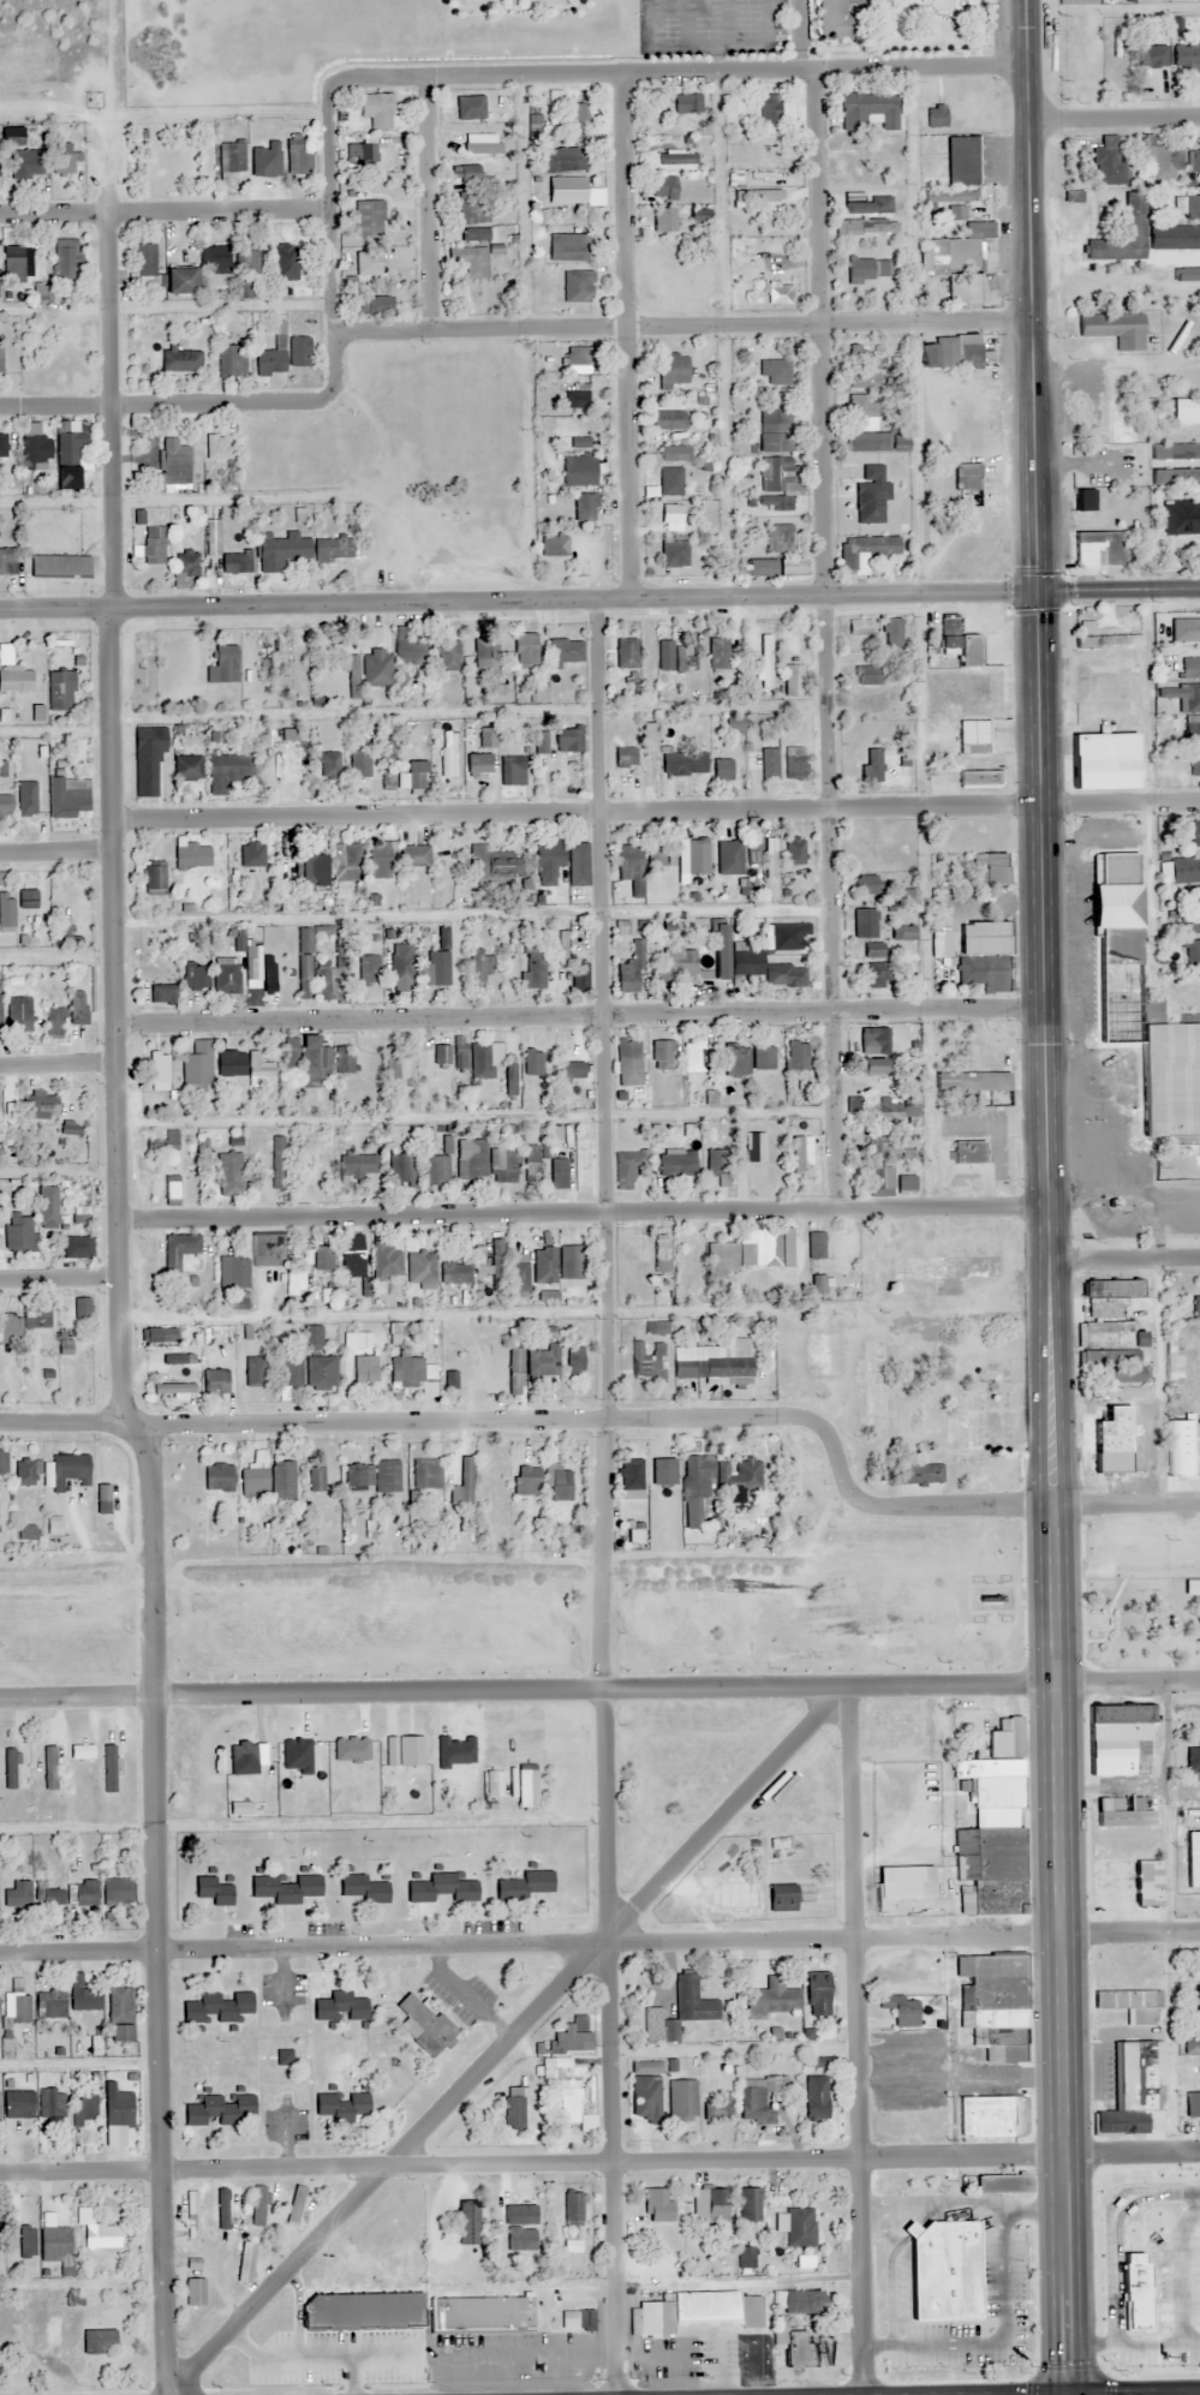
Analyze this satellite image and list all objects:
building: (1076, 2)
building: (841, 20)
building: (1151, 55)
building: (1186, 56)
road: (925, 74)
road: (452, 79)
building: (686, 103)
building: (468, 107)
building: (769, 108)
building: (376, 109)
building: (547, 109)
building: (577, 112)
building: (868, 112)
road: (1115, 121)
building: (13, 136)
building: (298, 155)
building: (231, 157)
building: (676, 159)
building: (1194, 159)
building: (562, 160)
building: (962, 160)
building: (1168, 161)
building: (26, 162)
building: (68, 162)
building: (166, 162)
building: (1108, 163)
building: (466, 174)
building: (662, 187)
building: (566, 190)
road: (108, 198)
building: (947, 199)
road: (628, 204)
building: (1187, 207)
road: (431, 208)
building: (472, 209)
building: (1134, 215)
road: (221, 216)
road: (54, 219)
building: (369, 219)
building: (664, 220)
building: (968, 223)
building: (862, 227)
building: (473, 234)
building: (567, 247)
building: (66, 258)
building: (217, 258)
building: (144, 261)
building: (472, 261)
building: (282, 262)
building: (17, 264)
building: (954, 268)
building: (251, 269)
building: (868, 269)
building: (179, 279)
building: (577, 286)
building: (42, 292)
building: (777, 295)
building: (375, 305)
road: (112, 313)
building: (1112, 329)
road: (541, 332)
road: (826, 336)
building: (298, 351)
building: (950, 352)
building: (858, 356)
building: (1, 357)
building: (580, 357)
building: (179, 360)
building: (231, 360)
building: (671, 370)
building: (775, 371)
building: (862, 381)
building: (577, 396)
road: (58, 408)
building: (1187, 412)
building: (861, 414)
building: (668, 420)
building: (775, 431)
building: (71, 442)
building: (577, 443)
building: (876, 443)
building: (213, 444)
building: (2, 447)
building: (36, 448)
building: (674, 454)
building: (172, 462)
building: (1175, 465)
road: (632, 466)
building: (578, 471)
building: (776, 476)
building: (71, 477)
building: (966, 478)
building: (670, 482)
building: (871, 496)
building: (1085, 500)
building: (777, 504)
building: (585, 507)
road: (114, 510)
building: (670, 514)
building: (1182, 518)
building: (211, 537)
building: (778, 539)
building: (154, 545)
building: (554, 547)
building: (332, 549)
building: (1102, 549)
building: (280, 550)
building: (865, 550)
building: (673, 555)
building: (7, 561)
building: (186, 562)
building: (233, 563)
building: (61, 565)
building: (775, 568)
road: (1121, 592)
traffic signals: (1041, 596)
road: (578, 605)
road: (56, 613)
building: (859, 628)
building: (891, 632)
building: (959, 645)
building: (408, 647)
building: (526, 650)
building: (565, 651)
building: (485, 653)
building: (626, 653)
building: (720, 653)
building: (447, 656)
building: (664, 656)
building: (687, 657)
building: (264, 661)
building: (223, 664)
building: (376, 668)
building: (1190, 668)
building: (299, 670)
building: (865, 675)
building: (17, 679)
building: (788, 681)
building: (62, 691)
building: (1192, 698)
road: (830, 703)
building: (1192, 729)
building: (646, 733)
building: (973, 737)
building: (567, 739)
building: (147, 758)
building: (625, 758)
building: (1102, 761)
building: (795, 763)
building: (359, 764)
building: (477, 764)
building: (682, 764)
building: (769, 764)
building: (329, 765)
building: (871, 765)
building: (187, 768)
building: (291, 769)
building: (1194, 769)
building: (512, 770)
building: (649, 770)
building: (722, 770)
building: (226, 771)
building: (417, 776)
building: (979, 780)
building: (68, 800)
building: (6, 805)
road: (1122, 805)
road: (580, 817)
building: (1190, 832)
building: (864, 836)
road: (59, 852)
building: (794, 852)
building: (252, 854)
building: (765, 854)
building: (413, 855)
building: (192, 856)
building: (658, 858)
building: (693, 858)
building: (728, 858)
building: (377, 860)
building: (346, 862)
building: (562, 862)
building: (1184, 866)
building: (494, 867)
building: (629, 867)
building: (314, 870)
building: (987, 870)
building: (151, 879)
building: (866, 885)
building: (71, 891)
building: (906, 896)
building: (29, 898)
building: (1196, 902)
building: (7, 908)
road: (831, 909)
building: (865, 924)
building: (1190, 930)
building: (902, 933)
building: (787, 936)
building: (983, 937)
building: (941, 938)
building: (562, 948)
building: (873, 950)
building: (720, 951)
building: (1190, 952)
building: (251, 962)
building: (304, 962)
building: (437, 962)
building: (746, 963)
building: (676, 964)
building: (401, 966)
building: (364, 969)
building: (533, 972)
building: (483, 973)
building: (983, 973)
building: (268, 974)
building: (786, 975)
building: (877, 975)
building: (195, 976)
building: (226, 976)
building: (579, 976)
building: (626, 978)
building: (323, 979)
building: (162, 995)
building: (79, 1008)
building: (1141, 1008)
building: (0, 1010)
building: (20, 1015)
building: (53, 1021)
road: (583, 1021)
building: (662, 1055)
building: (458, 1056)
building: (798, 1056)
building: (694, 1057)
building: (305, 1058)
building: (762, 1058)
building: (484, 1059)
building: (344, 1061)
building: (734, 1061)
building: (392, 1063)
building: (531, 1063)
road: (59, 1064)
building: (197, 1064)
building: (231, 1064)
building: (628, 1064)
building: (871, 1067)
building: (258, 1070)
building: (571, 1070)
building: (159, 1071)
building: (509, 1080)
building: (308, 1087)
building: (975, 1088)
building: (801, 1100)
building: (32, 1105)
building: (854, 1105)
road: (837, 1111)
building: (885, 1112)
road: (932, 1115)
building: (165, 1142)
building: (883, 1143)
road: (608, 1148)
building: (968, 1153)
building: (800, 1155)
building: (473, 1160)
building: (1199, 1161)
building: (276, 1163)
building: (676, 1163)
building: (531, 1164)
building: (716, 1164)
building: (357, 1166)
building: (437, 1166)
building: (502, 1166)
building: (627, 1169)
building: (399, 1170)
building: (229, 1173)
building: (557, 1173)
building: (879, 1178)
building: (189, 1187)
building: (167, 1189)
building: (47, 1197)
road: (1049, 1197)
road: (585, 1211)
building: (19, 1231)
building: (814, 1246)
building: (178, 1250)
building: (267, 1252)
building: (751, 1252)
building: (323, 1258)
building: (353, 1259)
building: (659, 1259)
building: (479, 1260)
road: (1126, 1261)
building: (386, 1262)
building: (571, 1262)
building: (497, 1265)
building: (548, 1265)
building: (424, 1268)
building: (519, 1272)
building: (233, 1273)
building: (454, 1273)
building: (294, 1279)
road: (61, 1280)
building: (1108, 1297)
building: (1196, 1308)
building: (83, 1312)
building: (25, 1319)
building: (739, 1325)
building: (655, 1328)
building: (160, 1336)
building: (1111, 1336)
building: (312, 1338)
building: (357, 1342)
building: (1177, 1354)
building: (574, 1361)
building: (543, 1362)
building: (649, 1362)
building: (714, 1362)
building: (1116, 1364)
building: (364, 1369)
building: (255, 1370)
building: (406, 1370)
building: (289, 1372)
building: (514, 1372)
building: (321, 1373)
building: (449, 1381)
building: (213, 1382)
building: (173, 1388)
road: (692, 1422)
road: (68, 1428)
building: (1112, 1441)
building: (1181, 1447)
building: (4, 1462)
building: (71, 1469)
building: (25, 1471)
building: (426, 1474)
building: (920, 1474)
building: (739, 1475)
building: (217, 1477)
building: (372, 1477)
building: (255, 1479)
building: (530, 1479)
building: (632, 1479)
building: (282, 1480)
building: (316, 1480)
building: (465, 1481)
building: (560, 1485)
building: (695, 1493)
road: (153, 1500)
building: (799, 1512)
railway: (599, 1573)
building: (1192, 1588)
road: (679, 1692)
road: (78, 1695)
building: (1117, 1740)
building: (83, 1750)
building: (1193, 1758)
building: (109, 1764)
building: (11, 1767)
building: (52, 1767)
building: (996, 1769)
building: (526, 1790)
building: (468, 1791)
building: (1118, 1816)
building: (778, 1842)
building: (1193, 1859)
building: (990, 1869)
building: (524, 1886)
building: (287, 1887)
building: (365, 1888)
building: (215, 1889)
building: (442, 1889)
building: (86, 1892)
building: (18, 1893)
building: (118, 1894)
building: (48, 1895)
building: (730, 1895)
building: (906, 1897)
building: (781, 1898)
road: (680, 1935)
road: (80, 1952)
building: (84, 1994)
building: (816, 1994)
building: (1196, 1995)
building: (772, 1999)
building: (19, 2001)
building: (692, 2001)
building: (52, 2003)
building: (993, 2003)
building: (1130, 2003)
building: (220, 2006)
building: (341, 2006)
building: (901, 2009)
building: (121, 2013)
building: (651, 2025)
building: (424, 2026)
building: (569, 2038)
road: (511, 2043)
road: (615, 2044)
road: (864, 2044)
building: (1192, 2048)
building: (1130, 2088)
building: (816, 2097)
building: (756, 2098)
building: (681, 2100)
building: (52, 2102)
building: (18, 2103)
building: (1192, 2103)
building: (86, 2104)
building: (344, 2104)
building: (118, 2107)
building: (514, 2107)
building: (222, 2109)
building: (717, 2109)
building: (574, 2110)
building: (986, 2116)
road: (599, 2170)
building: (1002, 2184)
building: (297, 2204)
building: (748, 2204)
building: (259, 2205)
building: (657, 2205)
building: (710, 2205)
building: (223, 2208)
building: (572, 2209)
building: (193, 2214)
building: (468, 2222)
building: (1151, 2224)
building: (800, 2227)
building: (98, 2230)
building: (521, 2239)
building: (55, 2240)
building: (28, 2241)
building: (247, 2260)
building: (196, 2291)
building: (798, 2303)
building: (363, 2309)
building: (697, 2311)
building: (480, 2313)
building: (584, 2321)
building: (100, 2341)
building: (798, 2349)

